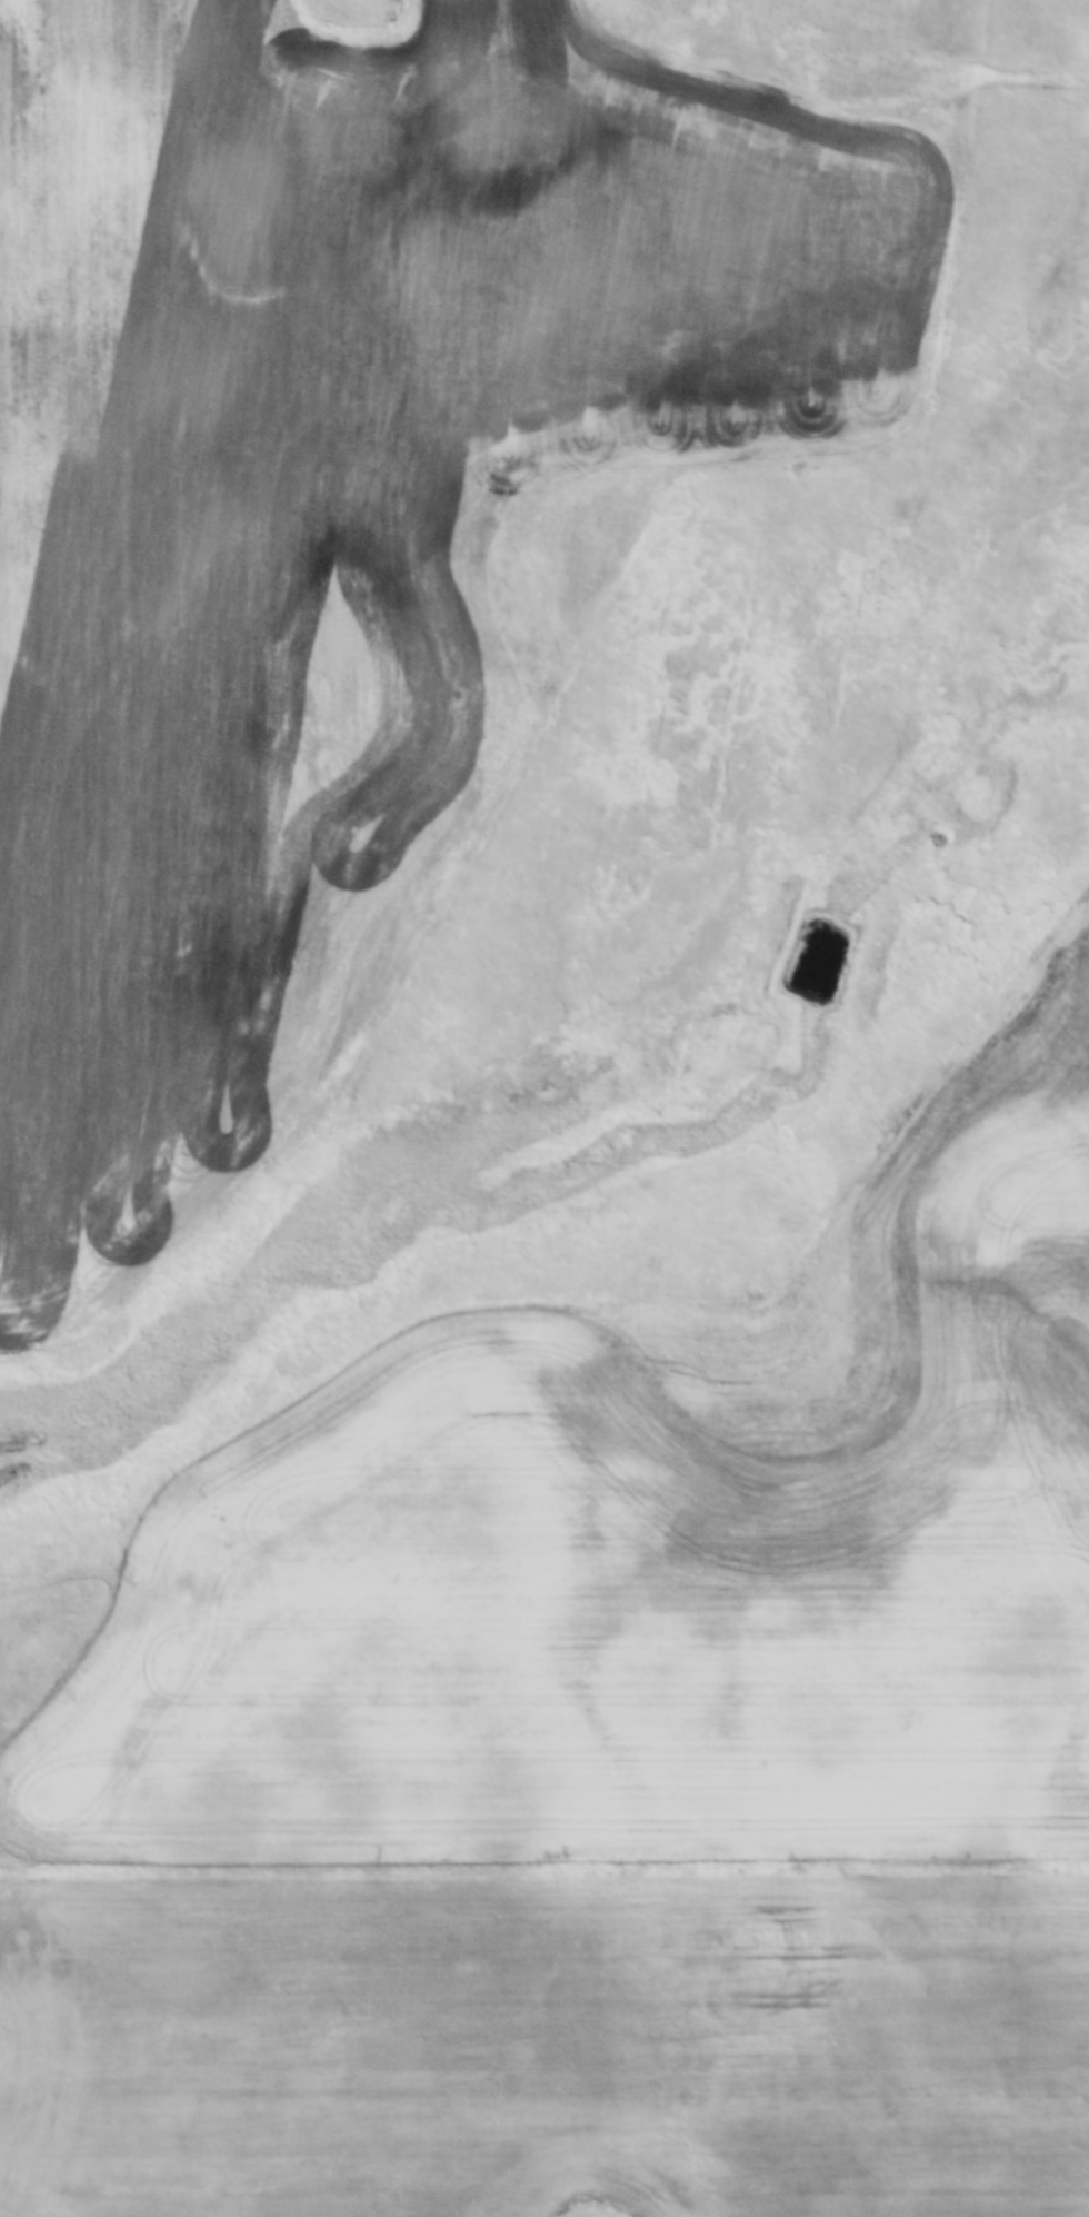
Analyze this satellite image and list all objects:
road: (544, 1846)

